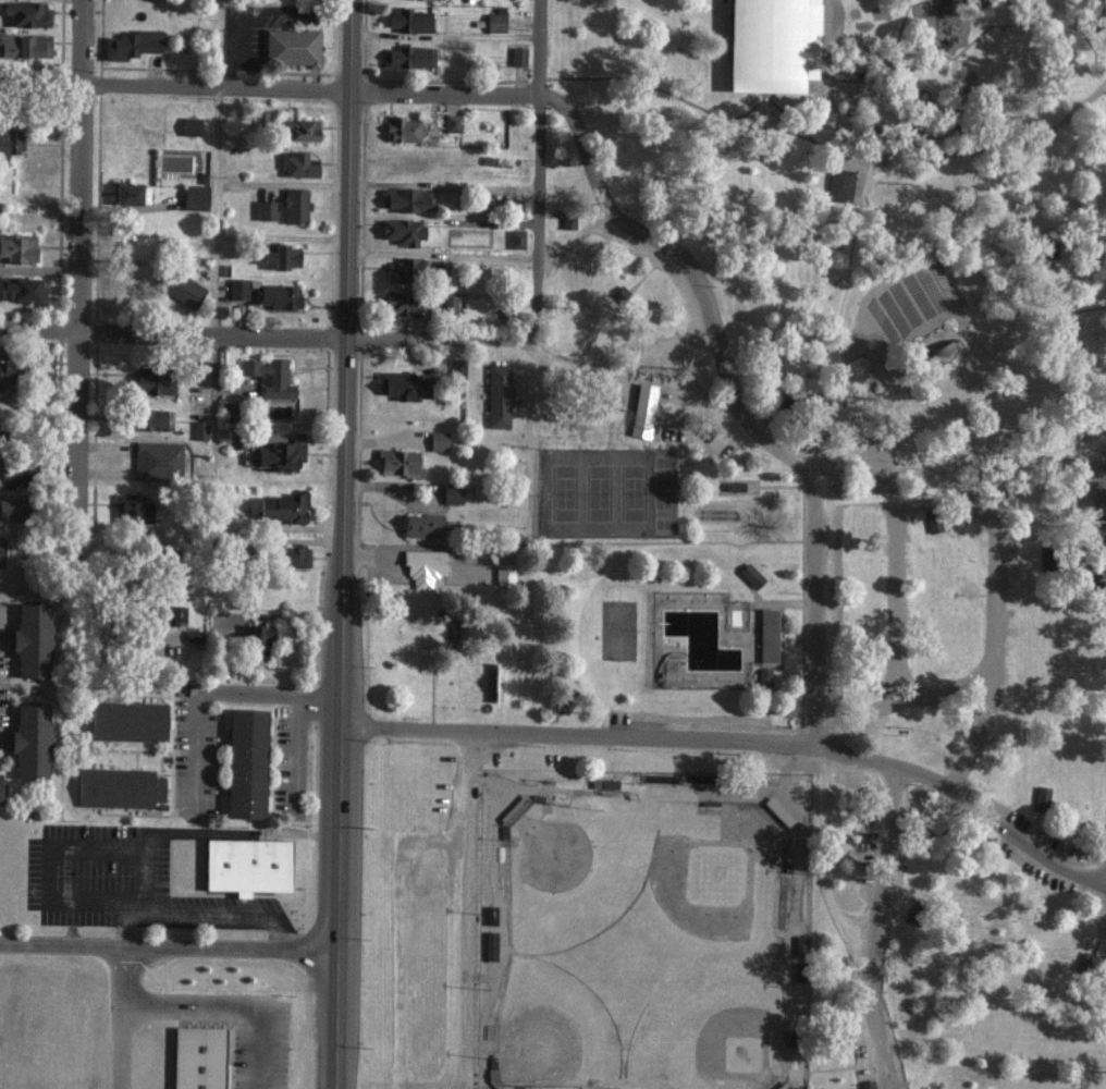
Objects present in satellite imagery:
building: (25, 13)
building: (409, 20)
building: (494, 22)
building: (131, 44)
building: (24, 45)
building: (291, 46)
building: (781, 46)
building: (517, 56)
building: (406, 57)
road: (40, 79)
road: (307, 90)
road: (847, 115)
building: (451, 123)
building: (189, 125)
building: (298, 129)
building: (403, 129)
building: (9, 142)
road: (867, 159)
building: (296, 164)
road: (218, 168)
building: (838, 184)
road: (376, 187)
building: (128, 194)
building: (194, 197)
building: (405, 199)
building: (284, 206)
building: (566, 219)
building: (401, 231)
building: (515, 238)
road: (534, 241)
building: (16, 248)
road: (77, 250)
building: (280, 256)
building: (402, 270)
building: (237, 287)
building: (181, 289)
building: (22, 291)
building: (274, 296)
building: (927, 298)
building: (402, 303)
building: (448, 304)
road: (38, 329)
road: (415, 339)
park: (901, 343)
road: (343, 348)
building: (943, 351)
building: (456, 368)
building: (7, 370)
building: (268, 377)
building: (153, 380)
building: (402, 386)
building: (497, 395)
road: (740, 402)
building: (824, 405)
building: (641, 409)
building: (146, 419)
building: (199, 430)
building: (438, 440)
building: (273, 456)
building: (157, 460)
building: (397, 463)
building: (12, 475)
park: (606, 490)
building: (451, 492)
road: (1102, 497)
building: (12, 507)
building: (281, 507)
building: (131, 509)
building: (932, 523)
building: (421, 525)
building: (290, 556)
building: (423, 566)
building: (504, 573)
building: (750, 575)
road: (893, 590)
building: (880, 592)
building: (169, 614)
building: (766, 635)
building: (30, 639)
building: (255, 640)
building: (763, 676)
road: (209, 694)
building: (126, 720)
road: (618, 736)
building: (28, 739)
building: (244, 762)
building: (118, 786)
building: (1041, 797)
building: (777, 810)
building: (932, 819)
road: (1008, 822)
road: (76, 845)
building: (246, 865)
road: (339, 893)
road: (454, 908)
building: (489, 914)
road: (214, 916)
road: (882, 929)
road: (169, 944)
building: (489, 944)
park: (644, 945)
road: (124, 974)
road: (229, 1006)
road: (120, 1047)
building: (196, 1057)
building: (865, 1084)
building: (781, 1086)

